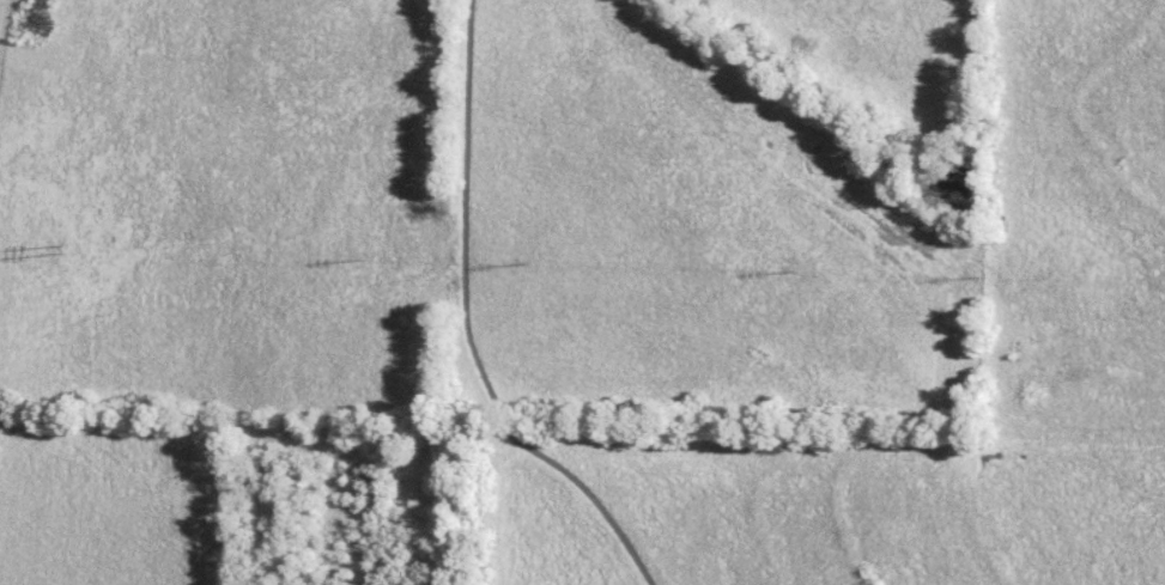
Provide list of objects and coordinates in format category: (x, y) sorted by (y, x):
road: (472, 327)

